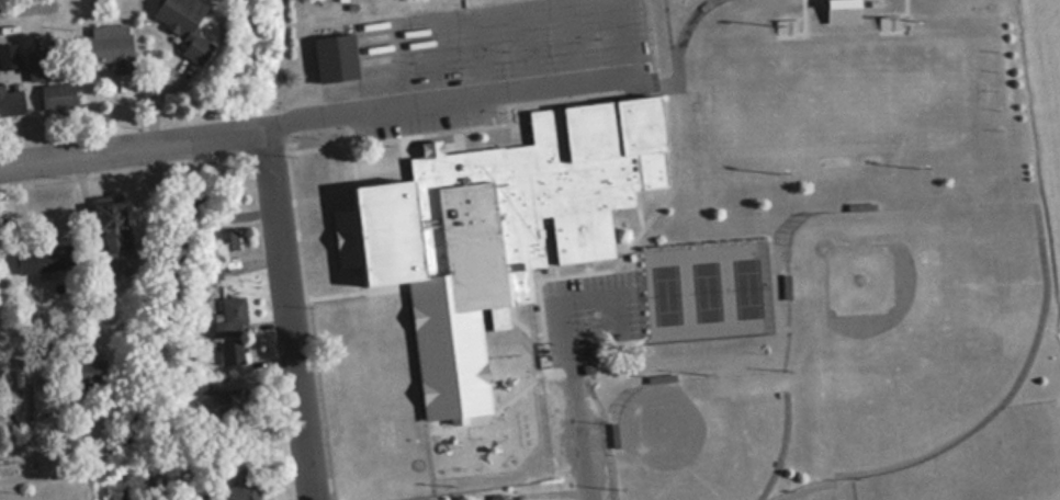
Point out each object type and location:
road: (19, 2)
building: (181, 23)
road: (508, 27)
road: (680, 33)
parking lot: (489, 37)
building: (110, 50)
building: (8, 55)
building: (332, 57)
building: (57, 96)
park: (858, 96)
building: (11, 101)
road: (339, 120)
road: (353, 149)
road: (124, 172)
road: (296, 212)
building: (501, 217)
building: (111, 236)
building: (226, 240)
building: (44, 258)
building: (212, 269)
park: (708, 289)
road: (357, 291)
road: (289, 314)
building: (233, 316)
park: (909, 326)
building: (234, 351)
road: (574, 368)
building: (83, 375)
park: (701, 436)
park: (984, 461)
road: (20, 475)
building: (245, 487)
park: (830, 488)
building: (496, 495)

